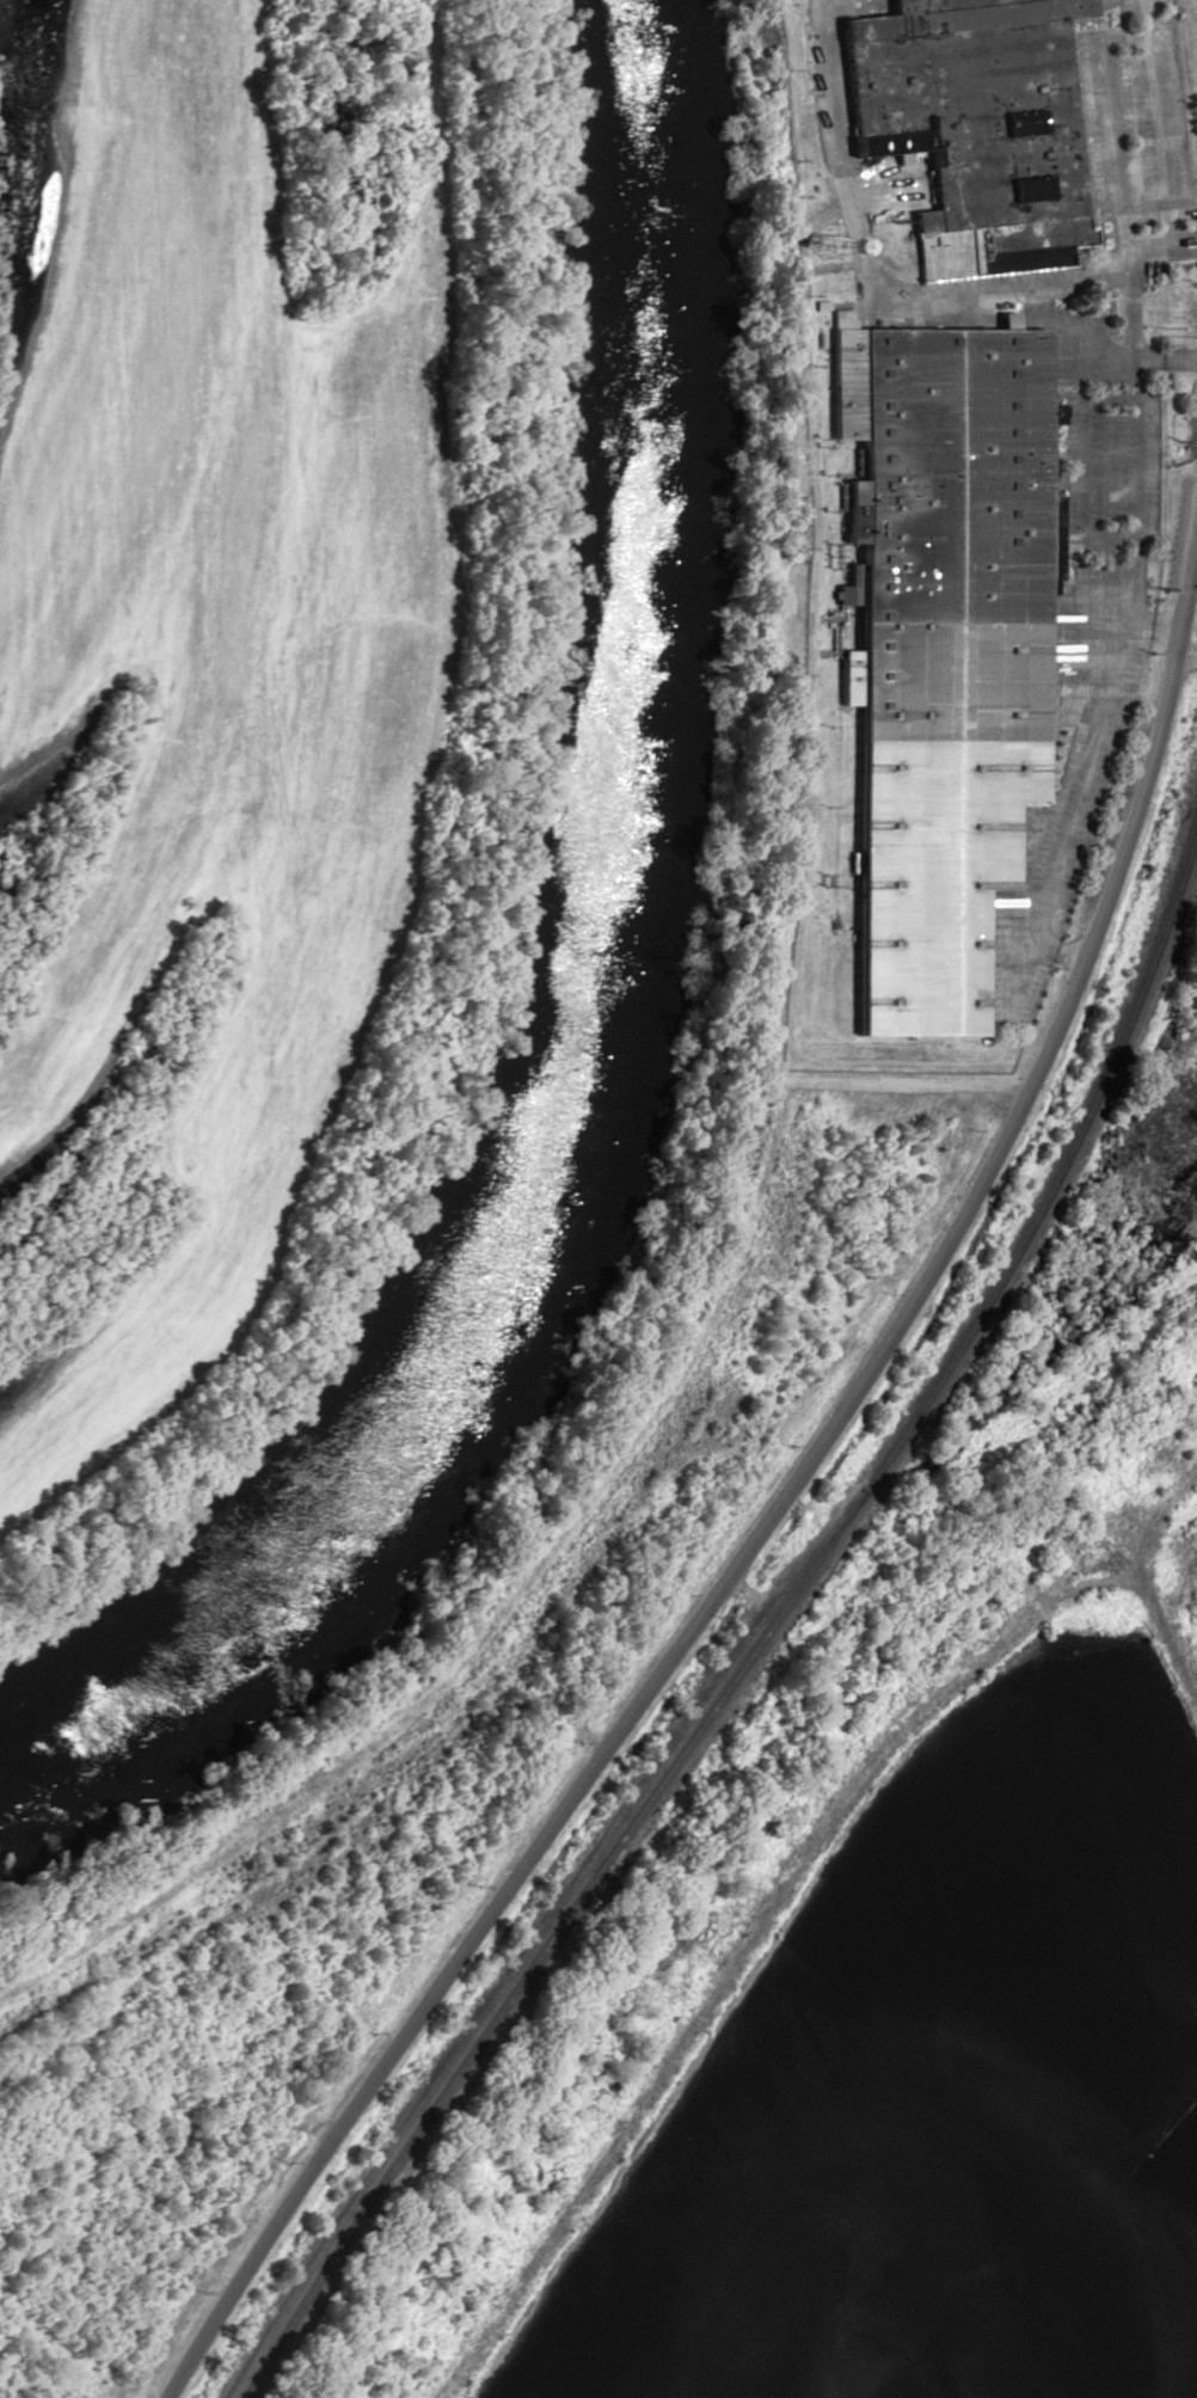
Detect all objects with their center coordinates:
building: (976, 125)
road: (889, 292)
building: (1165, 301)
road: (1131, 478)
building: (940, 648)
road: (1183, 660)
crop: (215, 671)
river: (581, 974)
road: (771, 1505)
railway: (904, 1537)
road: (1142, 1594)
railway: (763, 1636)
railway: (534, 1937)

